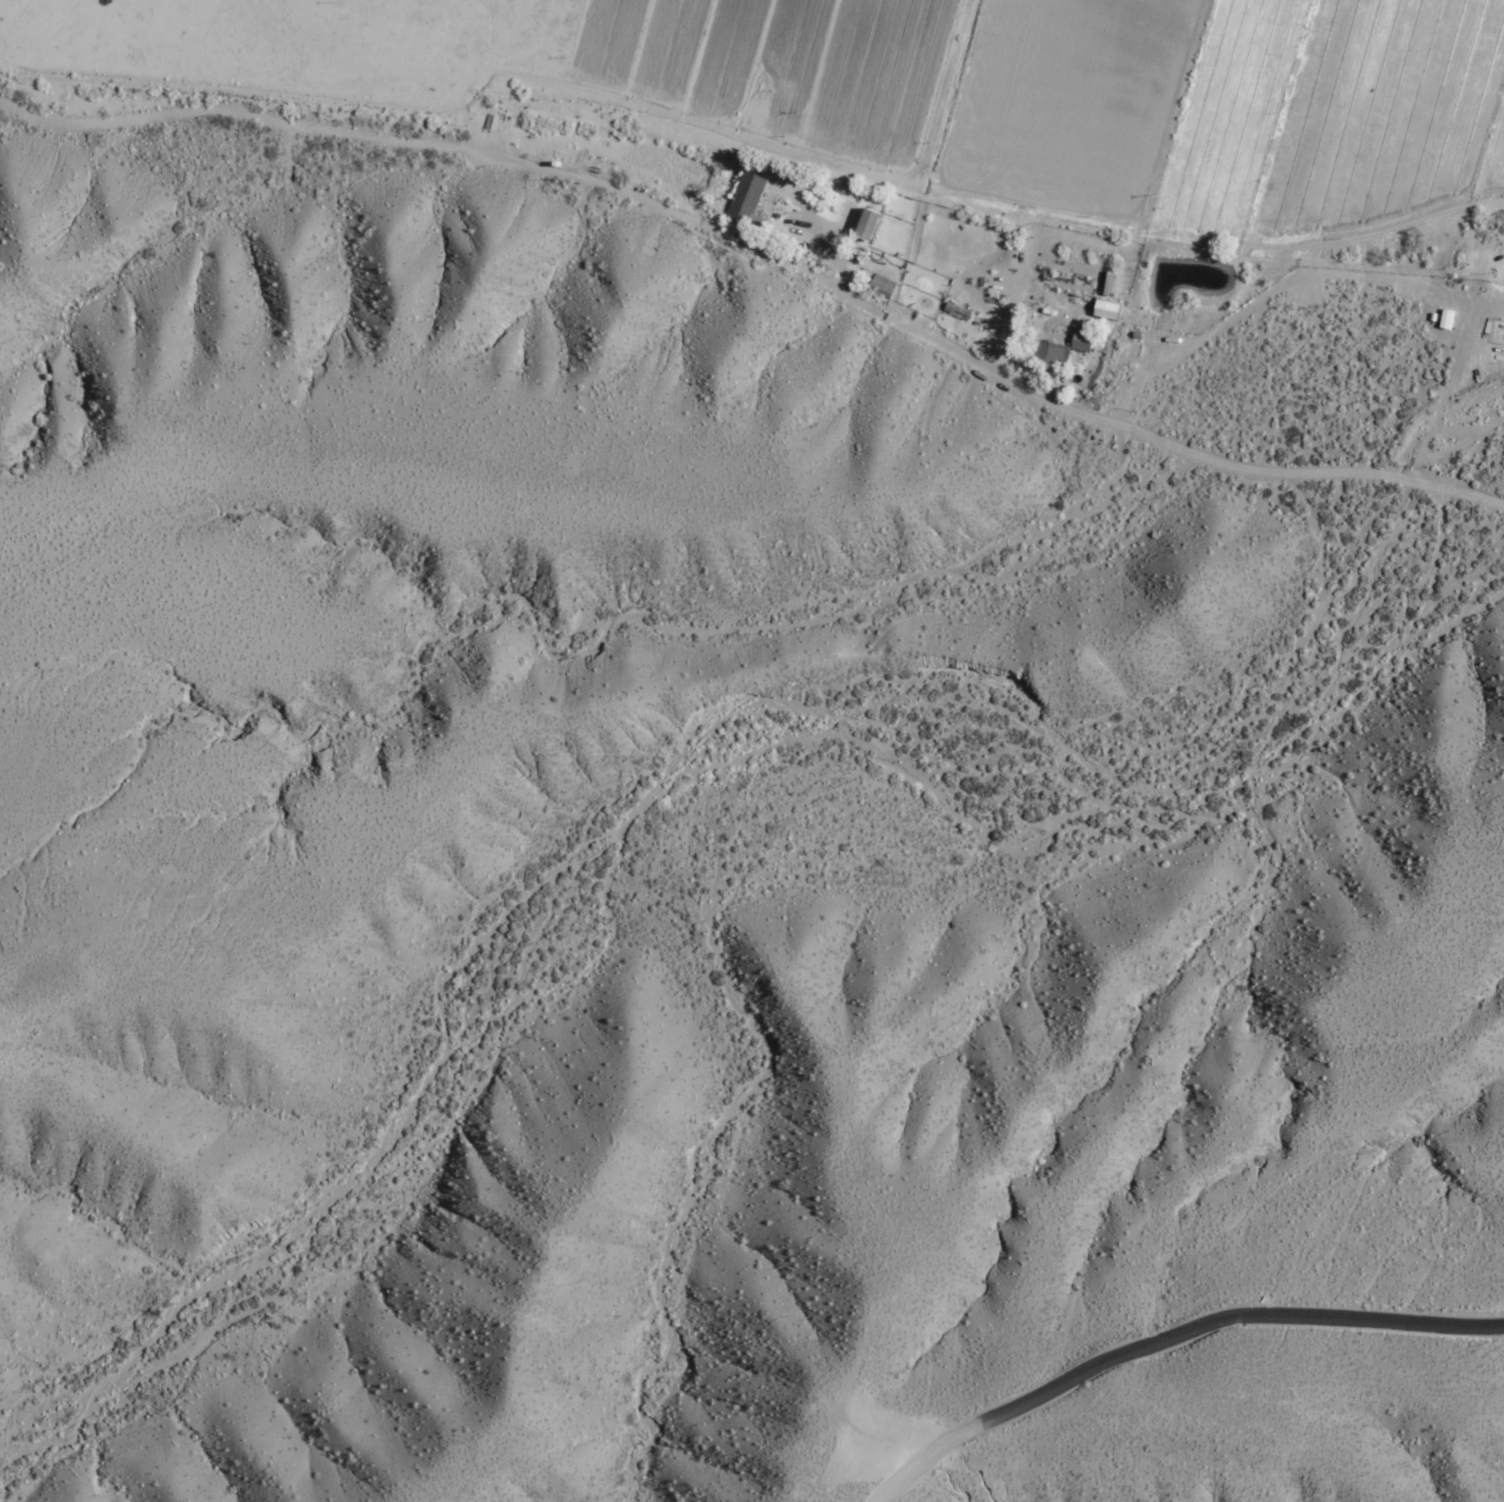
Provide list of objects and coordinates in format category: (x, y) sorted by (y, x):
building: (747, 199)
road: (765, 251)
building: (1082, 341)
building: (1050, 354)
road: (1171, 1336)

